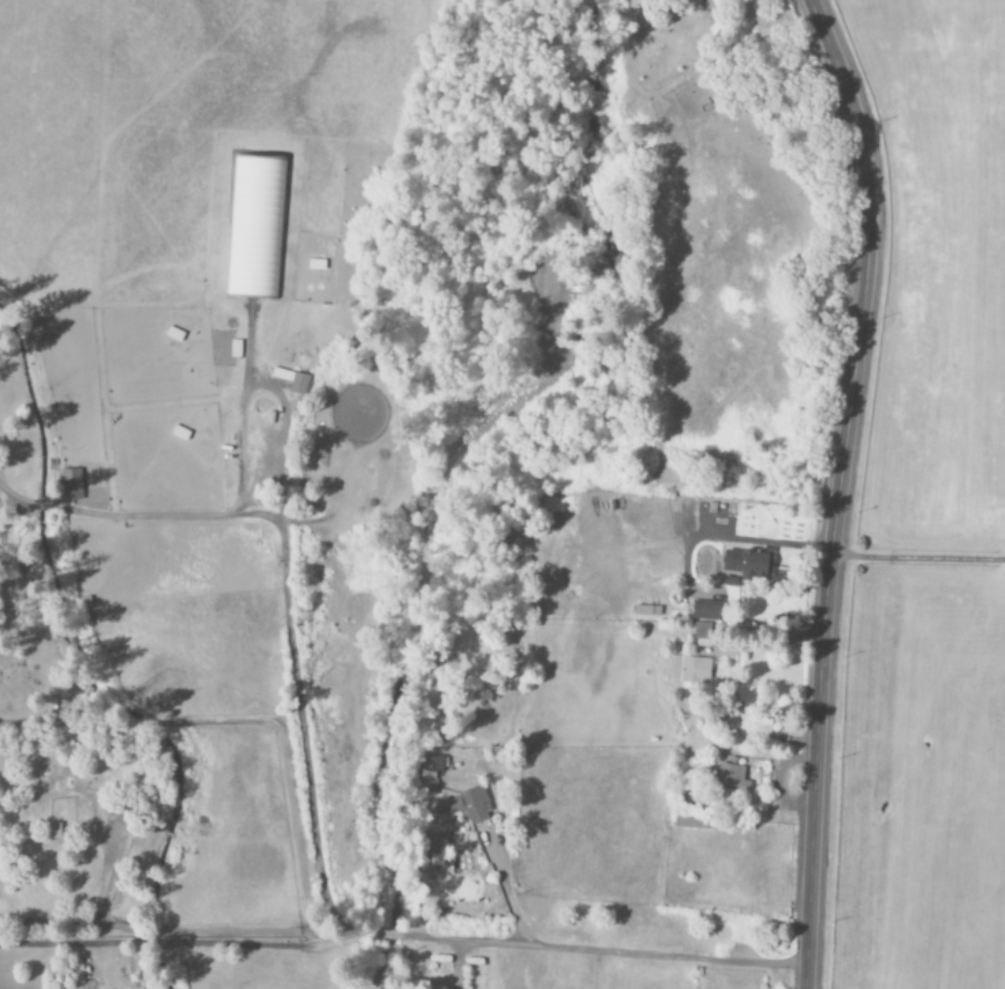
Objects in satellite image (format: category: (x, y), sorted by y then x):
building: (255, 227)
building: (296, 383)
building: (71, 485)
road: (838, 488)
road: (916, 559)
building: (748, 563)
building: (703, 612)
building: (702, 635)
building: (689, 670)
building: (435, 763)
building: (733, 778)
building: (469, 805)
road: (562, 948)

